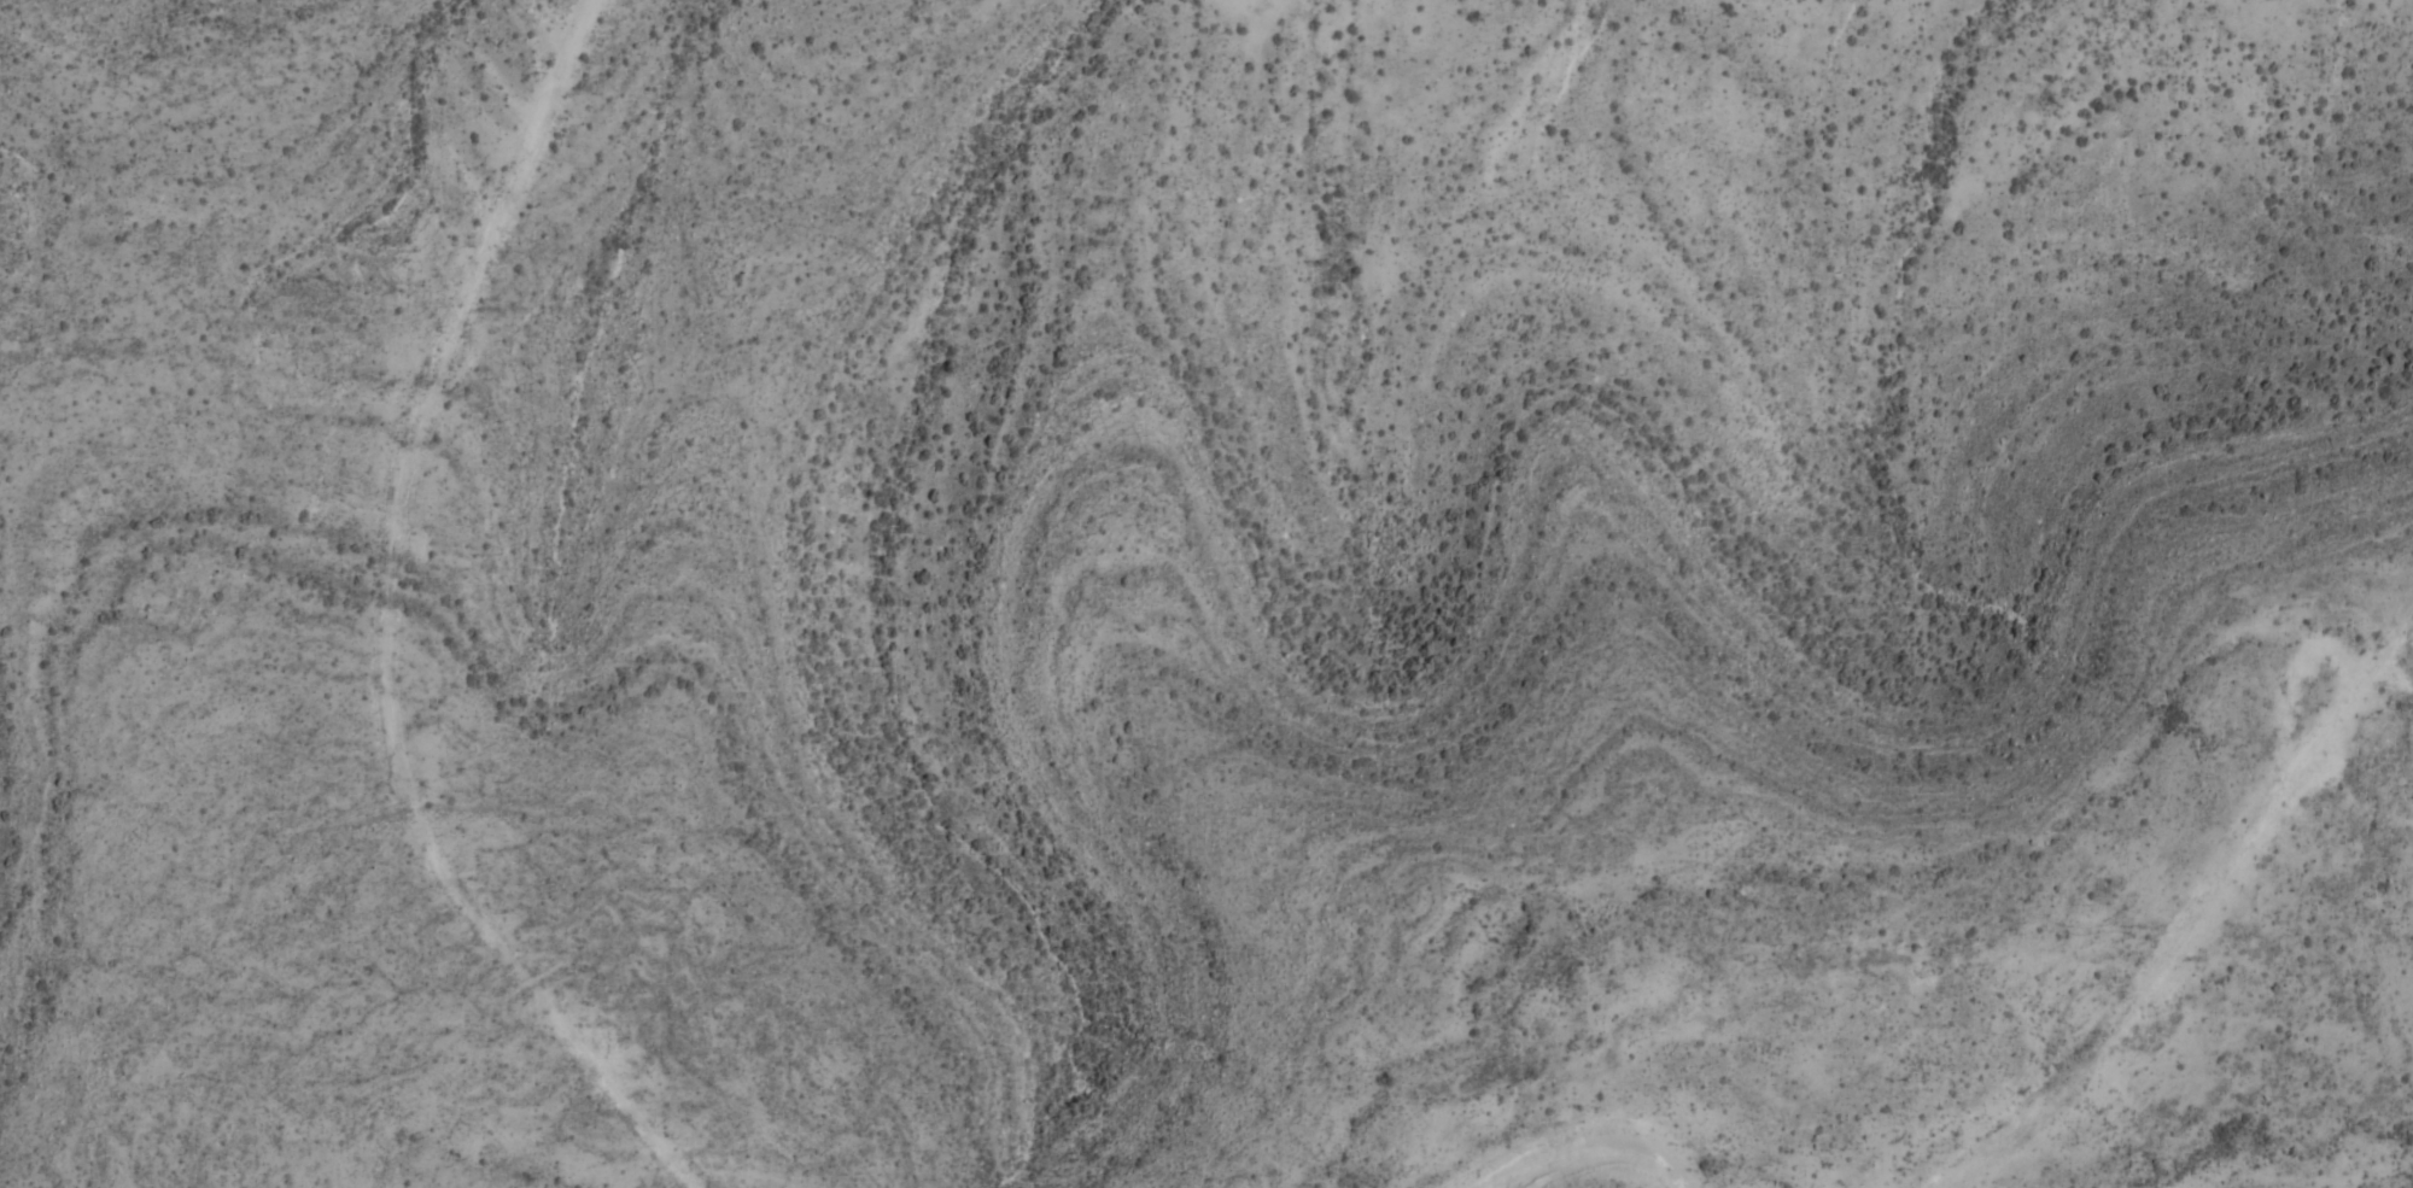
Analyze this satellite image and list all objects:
park: (1206, 593)
road: (387, 624)
road: (2295, 773)
road: (1600, 1149)

